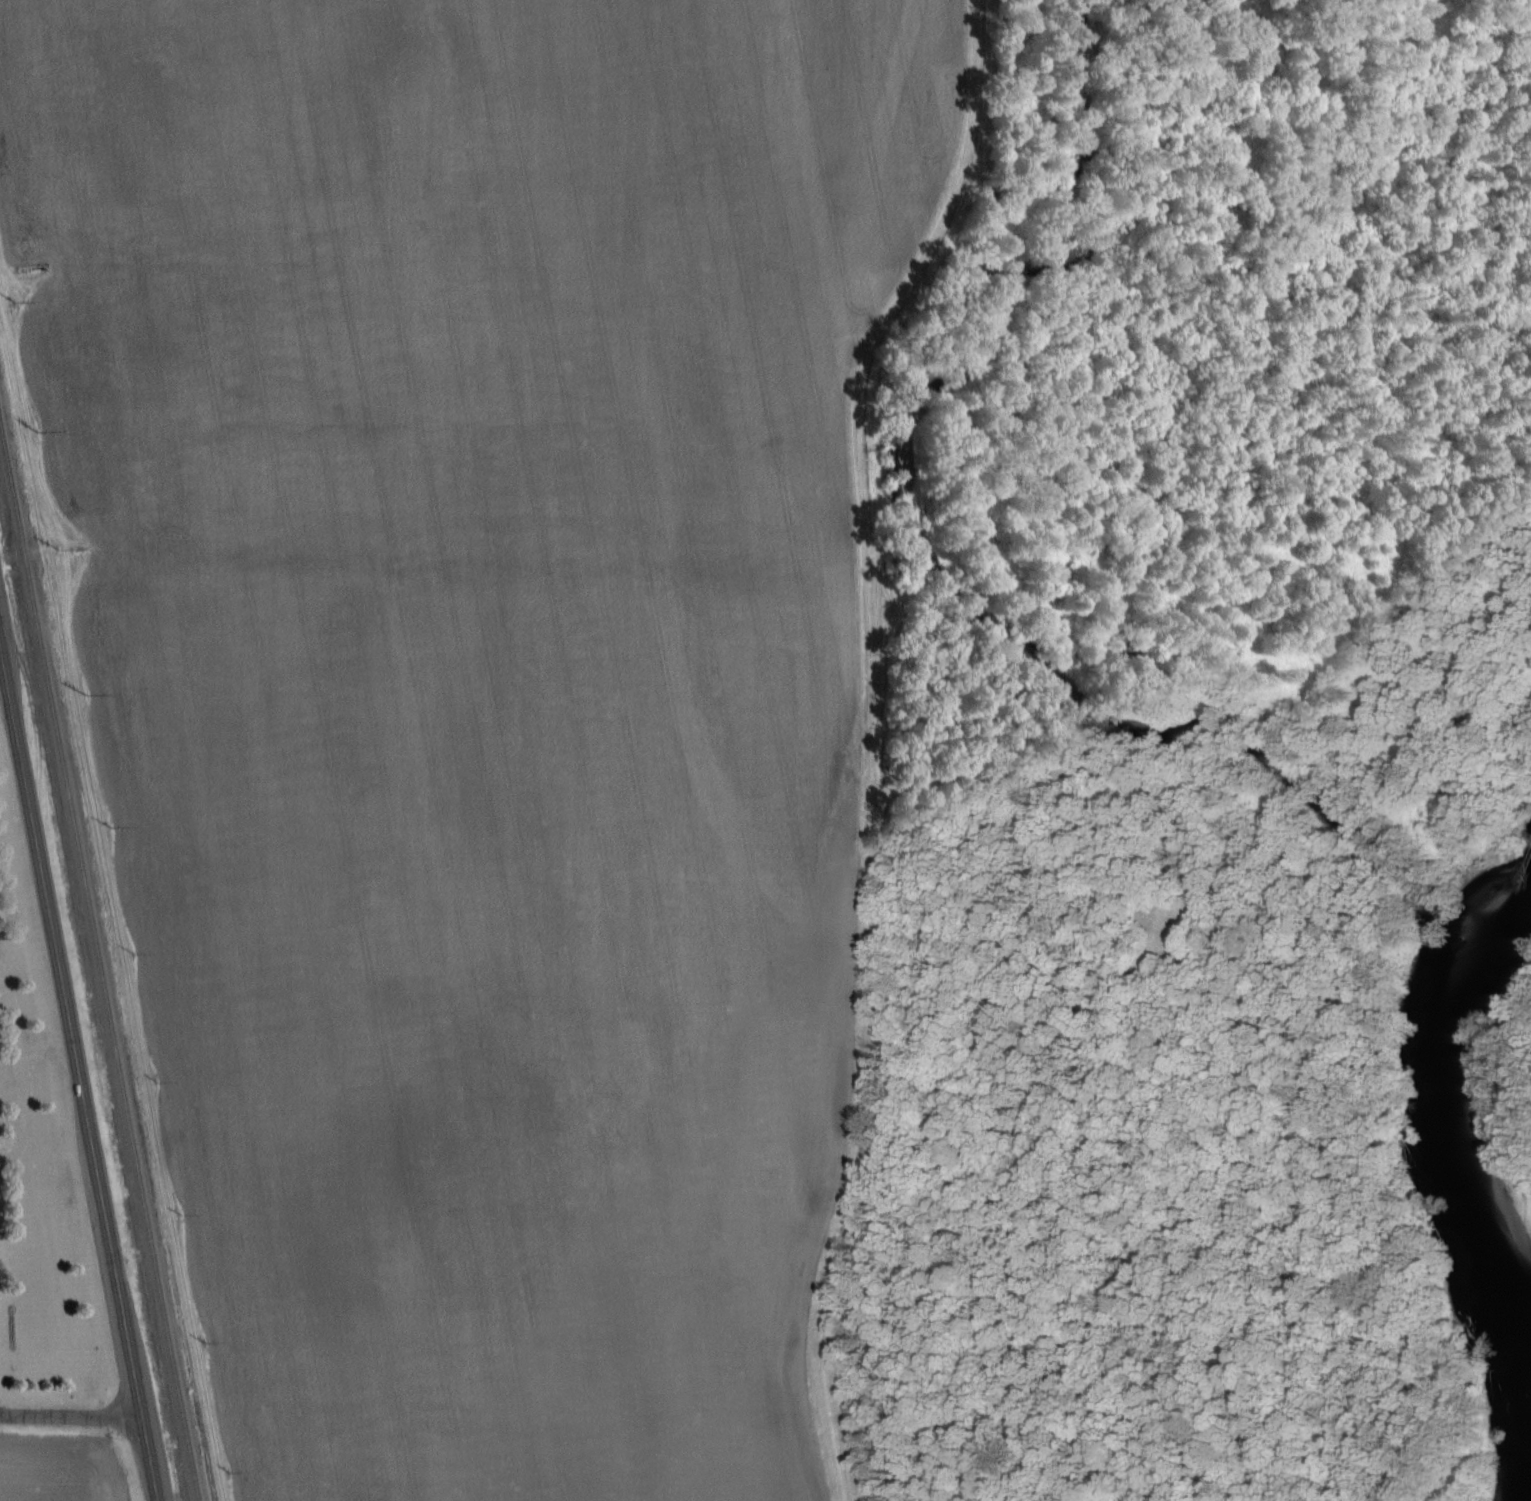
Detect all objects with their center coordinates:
railway: (97, 969)
river: (1425, 1068)
road: (80, 1072)
road: (71, 1419)
river: (1518, 1466)

